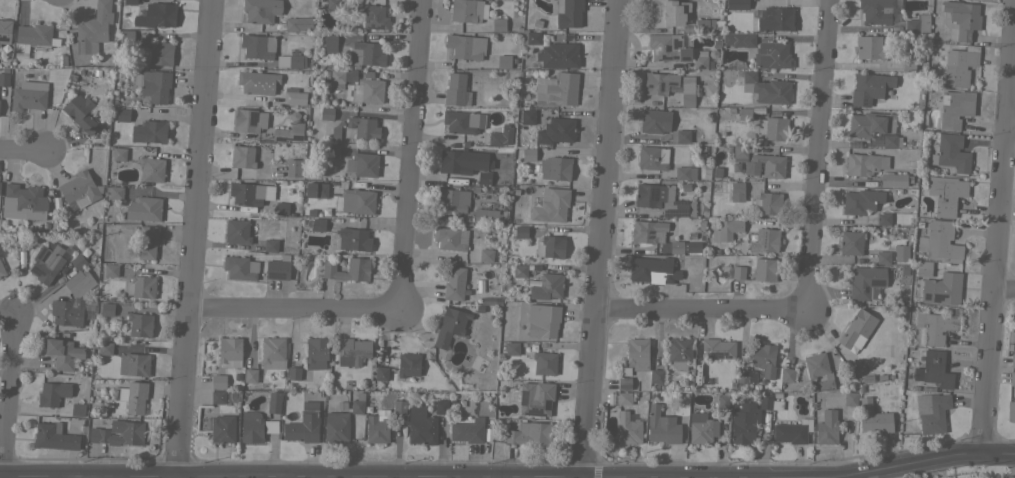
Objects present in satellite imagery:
building: (129, 2)
building: (333, 4)
building: (737, 4)
building: (467, 10)
building: (879, 11)
building: (568, 13)
building: (669, 13)
rooftop solar panel: (366, 14)
building: (156, 15)
building: (272, 16)
building: (373, 16)
building: (963, 18)
building: (774, 19)
building: (918, 23)
building: (498, 24)
building: (706, 25)
building: (94, 28)
rooftop solar panel: (374, 29)
building: (5, 30)
building: (33, 37)
building: (530, 37)
building: (126, 39)
building: (739, 39)
building: (330, 42)
rooftop solar panel: (676, 42)
building: (258, 46)
building: (466, 46)
building: (667, 47)
building: (870, 47)
rooftop solar panel: (655, 50)
building: (160, 52)
building: (366, 53)
building: (558, 55)
building: (772, 55)
rooftop solar panel: (666, 58)
building: (701, 59)
building: (291, 61)
building: (503, 61)
building: (735, 64)
building: (961, 67)
building: (25, 74)
building: (341, 78)
building: (4, 79)
building: (257, 82)
building: (659, 83)
rooftop solar panel: (670, 83)
building: (153, 84)
rooftop solar panel: (648, 86)
rooftop solar panel: (659, 87)
building: (766, 88)
building: (869, 88)
building: (455, 89)
building: (558, 90)
building: (365, 91)
building: (29, 95)
building: (687, 95)
building: (291, 97)
road: (836, 100)
building: (955, 108)
building: (80, 113)
building: (326, 113)
building: (744, 114)
building: (122, 115)
rooftop solar panel: (250, 115)
building: (527, 115)
building: (248, 120)
building: (463, 121)
building: (655, 121)
building: (869, 124)
building: (363, 127)
building: (772, 128)
road: (1012, 128)
building: (289, 129)
building: (149, 131)
building: (336, 131)
building: (556, 131)
building: (501, 135)
building: (683, 136)
building: (891, 141)
building: (332, 150)
building: (740, 151)
road: (21, 152)
building: (951, 152)
building: (118, 153)
building: (528, 154)
building: (246, 156)
road: (410, 157)
building: (653, 157)
road: (823, 157)
building: (456, 161)
building: (864, 163)
building: (362, 164)
building: (765, 165)
building: (555, 167)
building: (151, 169)
building: (716, 170)
building: (275, 171)
building: (685, 172)
building: (484, 177)
building: (894, 179)
building: (79, 189)
building: (316, 190)
building: (736, 191)
building: (114, 192)
building: (247, 193)
rooftop solar panel: (652, 194)
building: (946, 194)
building: (452, 199)
building: (662, 199)
building: (357, 201)
building: (861, 201)
building: (23, 202)
rooftop solar panel: (679, 202)
building: (766, 202)
building: (552, 206)
building: (144, 208)
building: (281, 208)
rooftop solar panel: (674, 213)
building: (489, 215)
building: (883, 218)
building: (316, 223)
building: (727, 229)
building: (237, 231)
building: (520, 231)
building: (648, 231)
rooftop solar panel: (761, 233)
road: (194, 237)
building: (451, 238)
road: (601, 238)
building: (351, 239)
building: (767, 239)
building: (942, 241)
building: (147, 242)
building: (851, 242)
building: (270, 245)
building: (550, 246)
building: (676, 246)
road: (997, 249)
building: (900, 252)
building: (486, 255)
building: (883, 257)
building: (77, 261)
building: (47, 262)
building: (358, 264)
building: (240, 267)
building: (921, 268)
building: (277, 269)
building: (764, 269)
building: (2, 270)
building: (111, 270)
building: (520, 270)
building: (653, 270)
building: (738, 272)
building: (866, 281)
rooftop solar panel: (877, 281)
building: (79, 282)
building: (454, 283)
building: (140, 286)
building: (547, 286)
rooftop solar panel: (865, 288)
building: (941, 289)
road: (1004, 291)
building: (107, 309)
road: (293, 310)
building: (67, 311)
road: (703, 313)
building: (542, 320)
building: (140, 324)
building: (935, 325)
building: (450, 326)
building: (857, 329)
building: (1011, 334)
building: (105, 348)
building: (512, 348)
building: (717, 348)
building: (229, 351)
building: (352, 351)
building: (679, 352)
building: (63, 353)
building: (273, 353)
building: (316, 353)
building: (637, 353)
building: (764, 358)
building: (1012, 360)
building: (544, 362)
building: (134, 364)
building: (408, 366)
building: (818, 369)
building: (934, 369)
building: (294, 373)
building: (381, 373)
building: (787, 375)
building: (250, 376)
building: (746, 376)
building: (656, 378)
building: (1012, 378)
building: (867, 379)
building: (218, 381)
building: (624, 383)
building: (53, 393)
road: (7, 396)
building: (136, 397)
building: (218, 397)
building: (537, 397)
building: (624, 398)
building: (850, 398)
building: (724, 401)
building: (274, 402)
building: (358, 403)
building: (441, 406)
building: (399, 407)
building: (78, 409)
building: (1010, 410)
building: (932, 412)
building: (751, 417)
building: (873, 417)
building: (304, 424)
building: (251, 426)
building: (271, 426)
building: (421, 426)
building: (662, 426)
building: (336, 427)
building: (827, 427)
building: (222, 428)
building: (377, 428)
building: (702, 428)
building: (628, 429)
building: (468, 431)
building: (792, 431)
building: (119, 433)
building: (529, 433)
building: (54, 437)
road: (862, 471)
road: (306, 474)
road: (401, 475)

